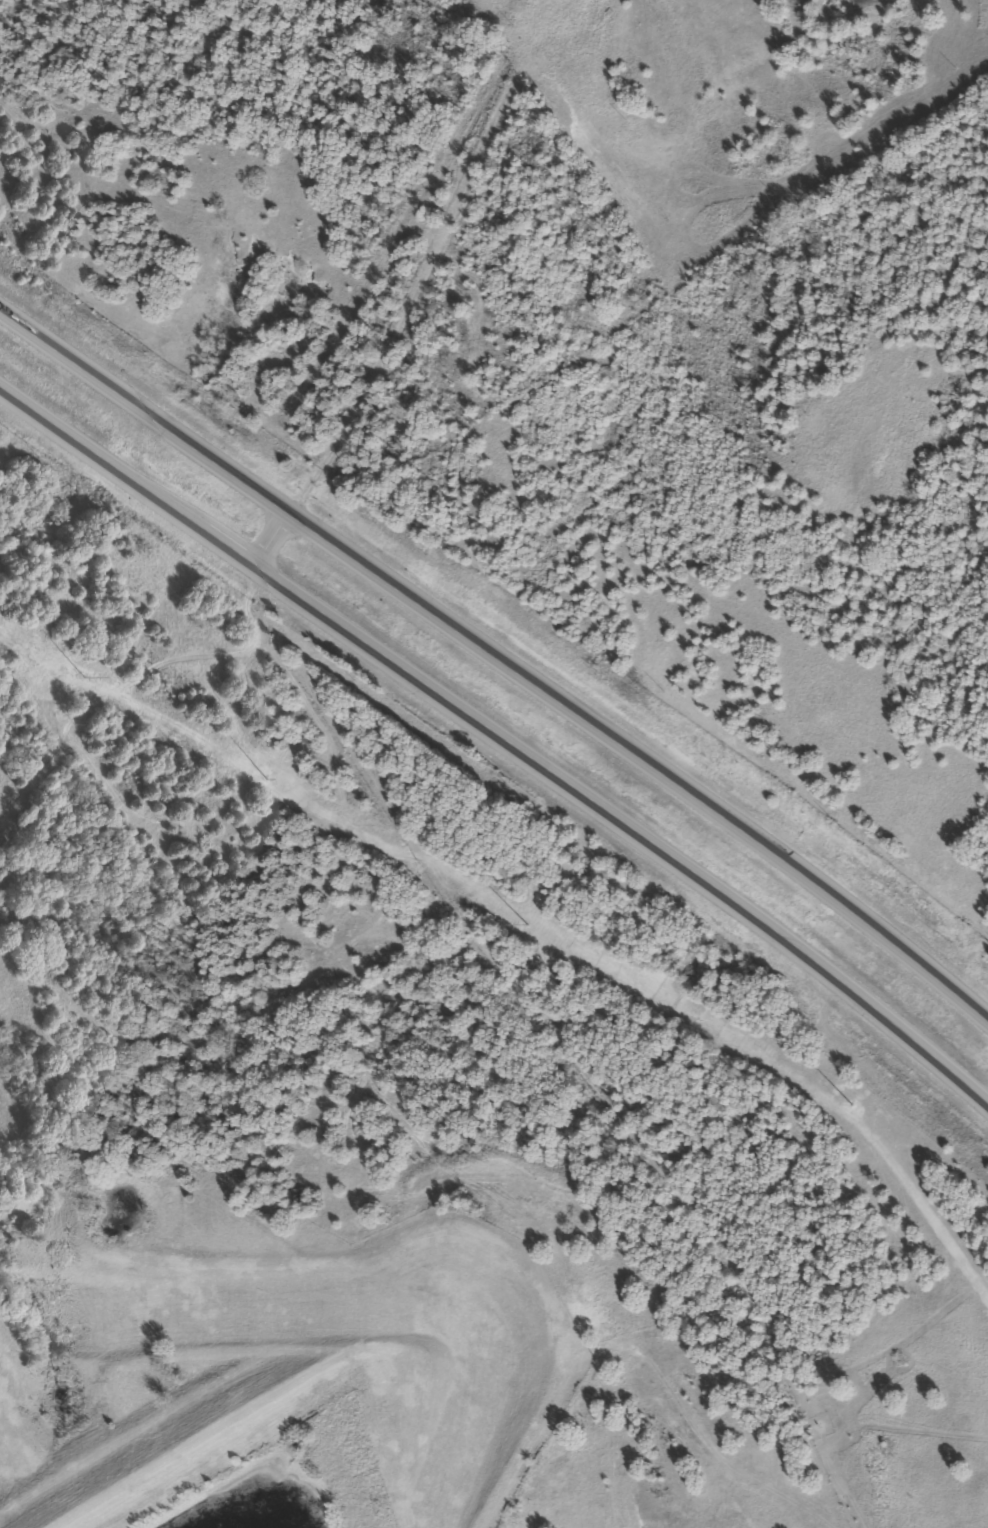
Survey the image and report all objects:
building: (561, 21)
building: (590, 83)
building: (612, 123)
building: (611, 173)
road: (411, 317)
road: (112, 466)
road: (273, 542)
road: (500, 656)
road: (604, 817)

